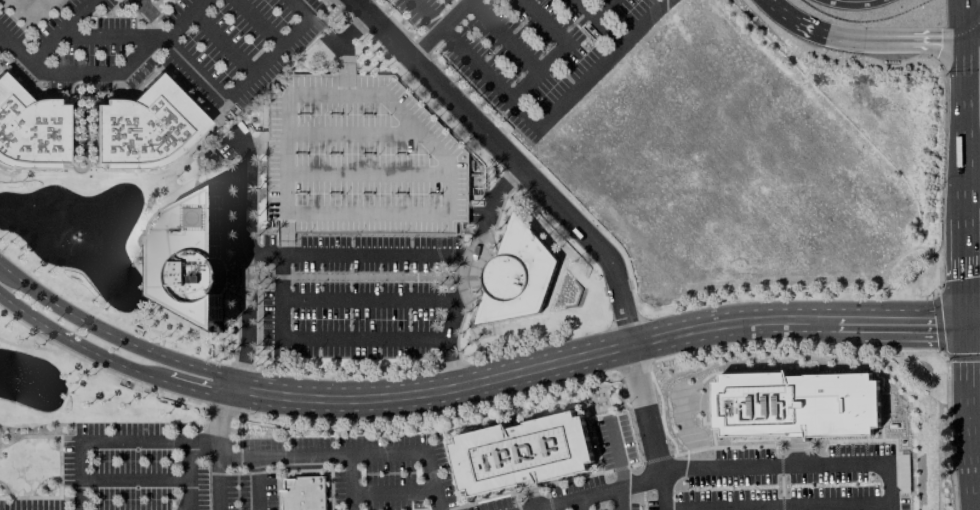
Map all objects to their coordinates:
building: (389, 0)
parking garage: (389, 0)
road: (143, 7)
road: (782, 11)
road: (455, 14)
road: (596, 17)
road: (961, 19)
road: (257, 22)
road: (610, 31)
road: (971, 33)
road: (0, 35)
road: (106, 35)
road: (502, 35)
road: (344, 39)
road: (877, 39)
traffic signals: (940, 39)
road: (222, 42)
road: (426, 43)
road: (46, 45)
parking lot: (533, 48)
road: (558, 50)
road: (101, 72)
road: (223, 101)
road: (79, 112)
road: (963, 123)
road: (539, 127)
building: (143, 128)
building: (30, 130)
road: (86, 137)
road: (78, 152)
building: (360, 158)
parking garage: (360, 158)
road: (75, 159)
road: (512, 161)
road: (509, 179)
road: (480, 208)
road: (245, 241)
road: (259, 252)
road: (279, 253)
building: (193, 259)
road: (964, 266)
building: (517, 276)
traffic signals: (965, 277)
road: (467, 284)
road: (973, 322)
road: (919, 324)
traffic signals: (940, 324)
road: (111, 335)
road: (342, 339)
road: (79, 344)
road: (552, 365)
road: (457, 368)
road: (238, 369)
road: (199, 388)
road: (968, 395)
road: (647, 404)
building: (795, 404)
road: (224, 412)
road: (99, 442)
road: (351, 453)
building: (522, 453)
road: (189, 461)
road: (665, 464)
road: (799, 465)
road: (59, 466)
road: (217, 473)
road: (134, 479)
road: (642, 481)
road: (351, 482)
road: (255, 484)
road: (669, 487)
road: (5, 489)
road: (970, 489)
road: (393, 492)
building: (304, 493)
road: (584, 495)
road: (581, 503)
road: (542, 508)

